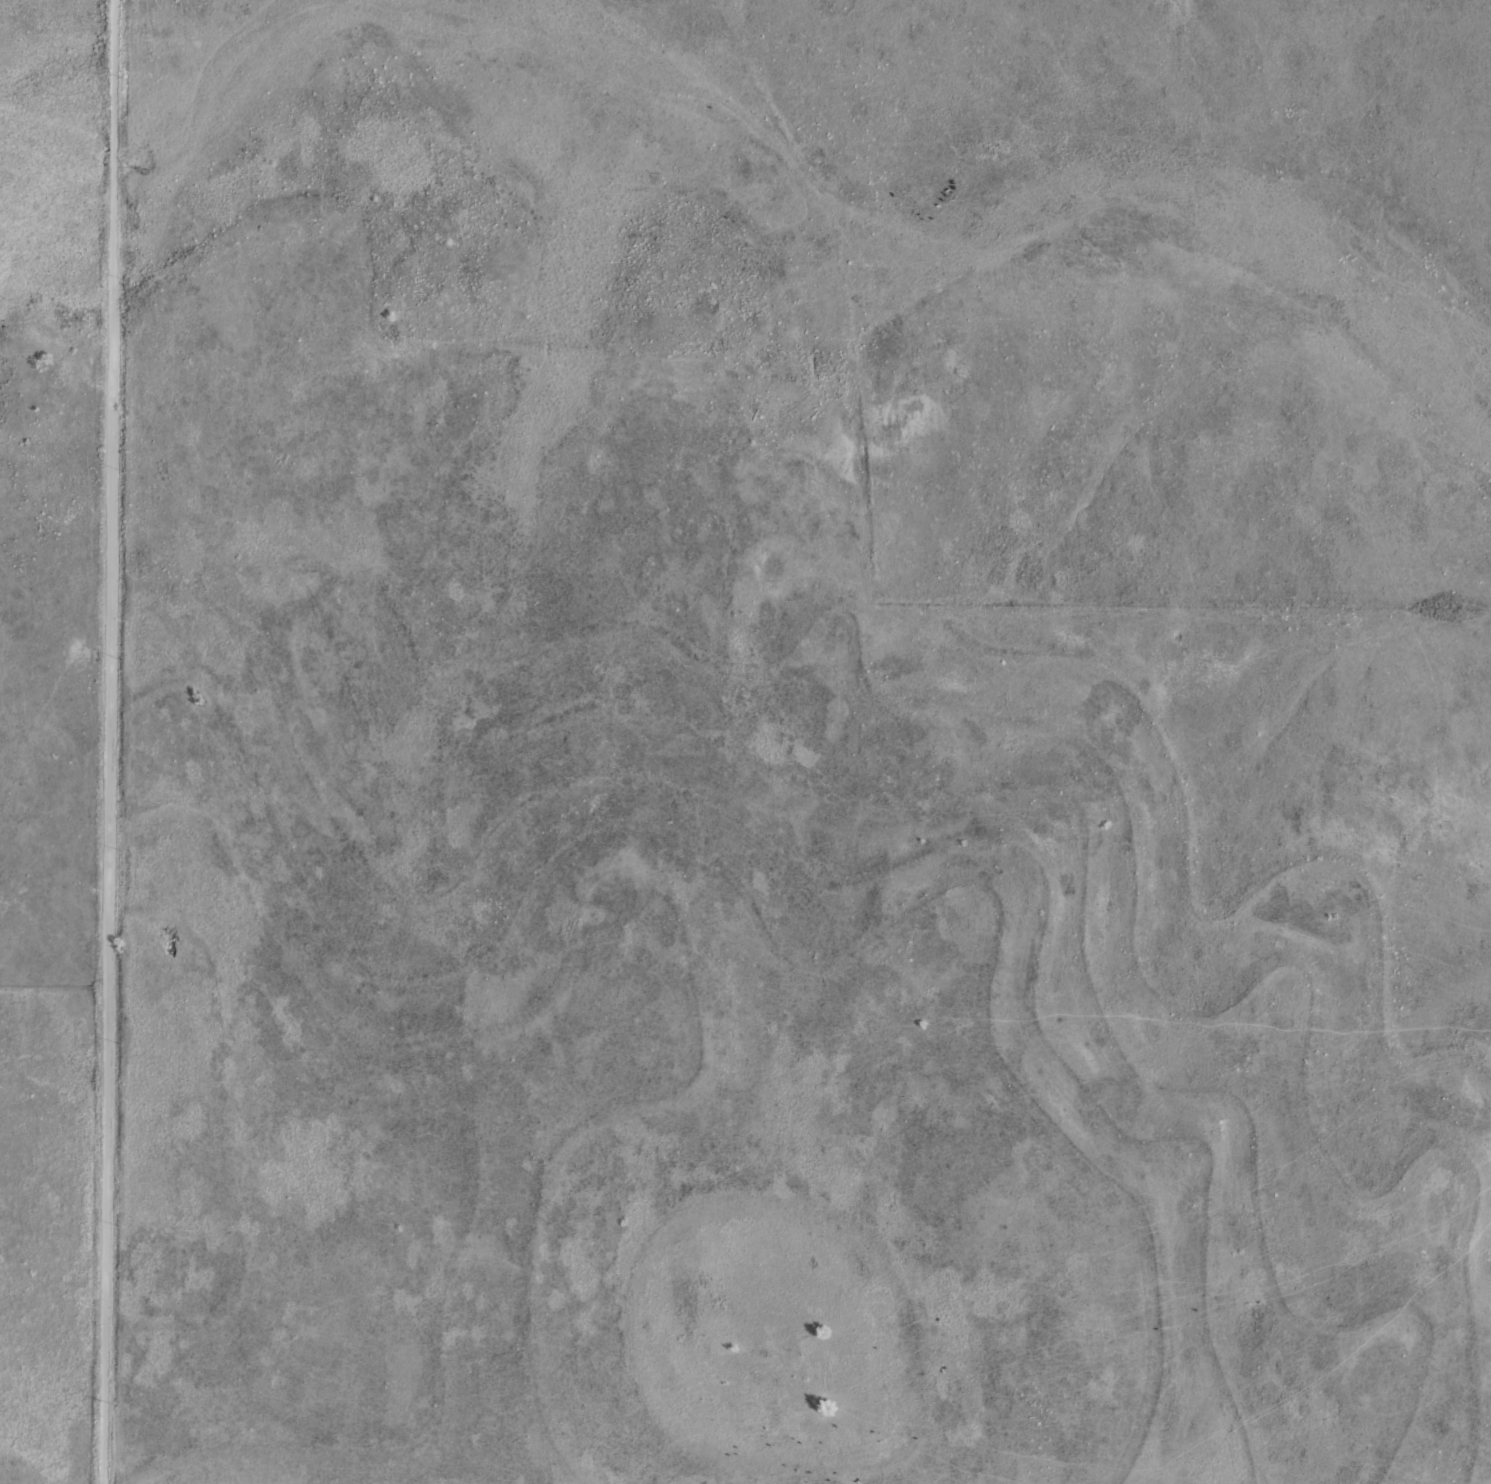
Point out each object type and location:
road: (112, 741)

